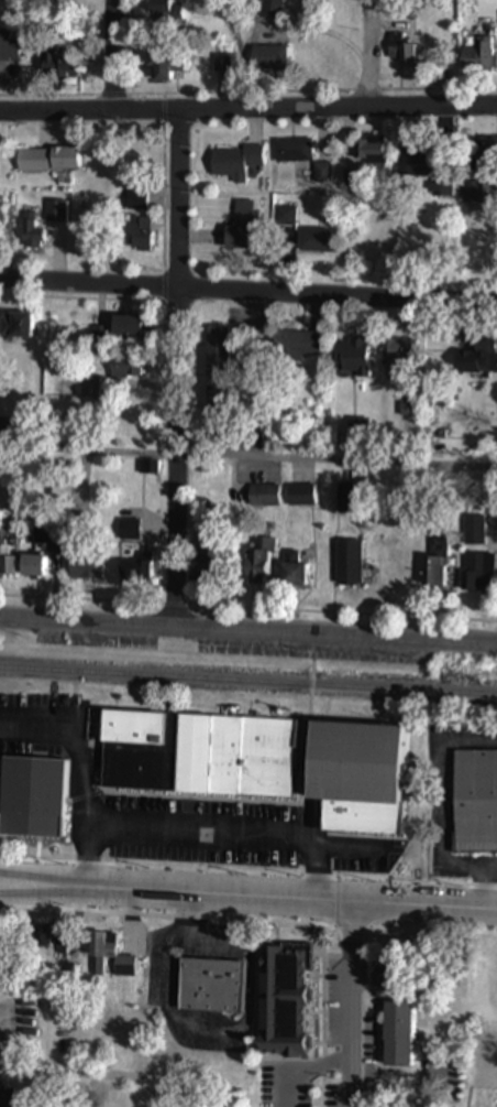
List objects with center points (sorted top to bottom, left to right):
building: (166, 12)
building: (9, 46)
building: (404, 50)
road: (110, 55)
road: (374, 55)
building: (478, 57)
building: (269, 61)
building: (165, 63)
building: (60, 66)
road: (247, 108)
building: (294, 151)
building: (367, 154)
building: (47, 161)
building: (236, 162)
building: (416, 163)
building: (442, 189)
building: (472, 194)
building: (136, 203)
building: (56, 213)
building: (244, 228)
building: (285, 229)
building: (31, 232)
building: (136, 236)
building: (318, 241)
road: (248, 290)
building: (18, 326)
building: (125, 328)
building: (295, 346)
building: (399, 356)
building: (218, 357)
building: (352, 357)
building: (479, 359)
building: (125, 369)
road: (178, 369)
building: (90, 389)
building: (410, 406)
road: (247, 457)
building: (301, 496)
building: (265, 497)
building: (346, 499)
building: (129, 531)
building: (474, 531)
building: (46, 534)
building: (7, 562)
building: (259, 563)
building: (134, 565)
building: (349, 565)
building: (33, 567)
building: (86, 567)
building: (292, 571)
building: (434, 574)
building: (479, 574)
road: (247, 632)
road: (312, 680)
railway: (247, 682)
building: (266, 764)
building: (33, 799)
building: (475, 803)
road: (146, 834)
road: (90, 858)
road: (248, 896)
building: (42, 944)
building: (63, 949)
building: (110, 958)
building: (210, 988)
building: (281, 1000)
road: (350, 1005)
building: (397, 1037)
road: (100, 1073)
building: (8, 1099)

